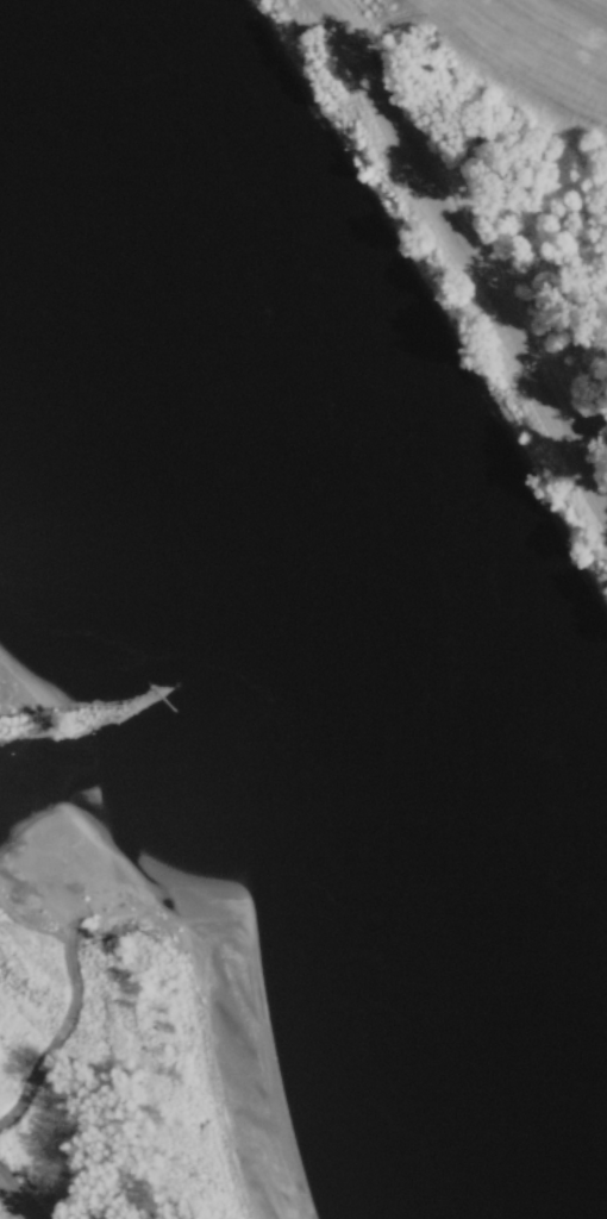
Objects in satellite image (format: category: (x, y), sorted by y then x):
road: (458, 252)
river: (303, 540)

